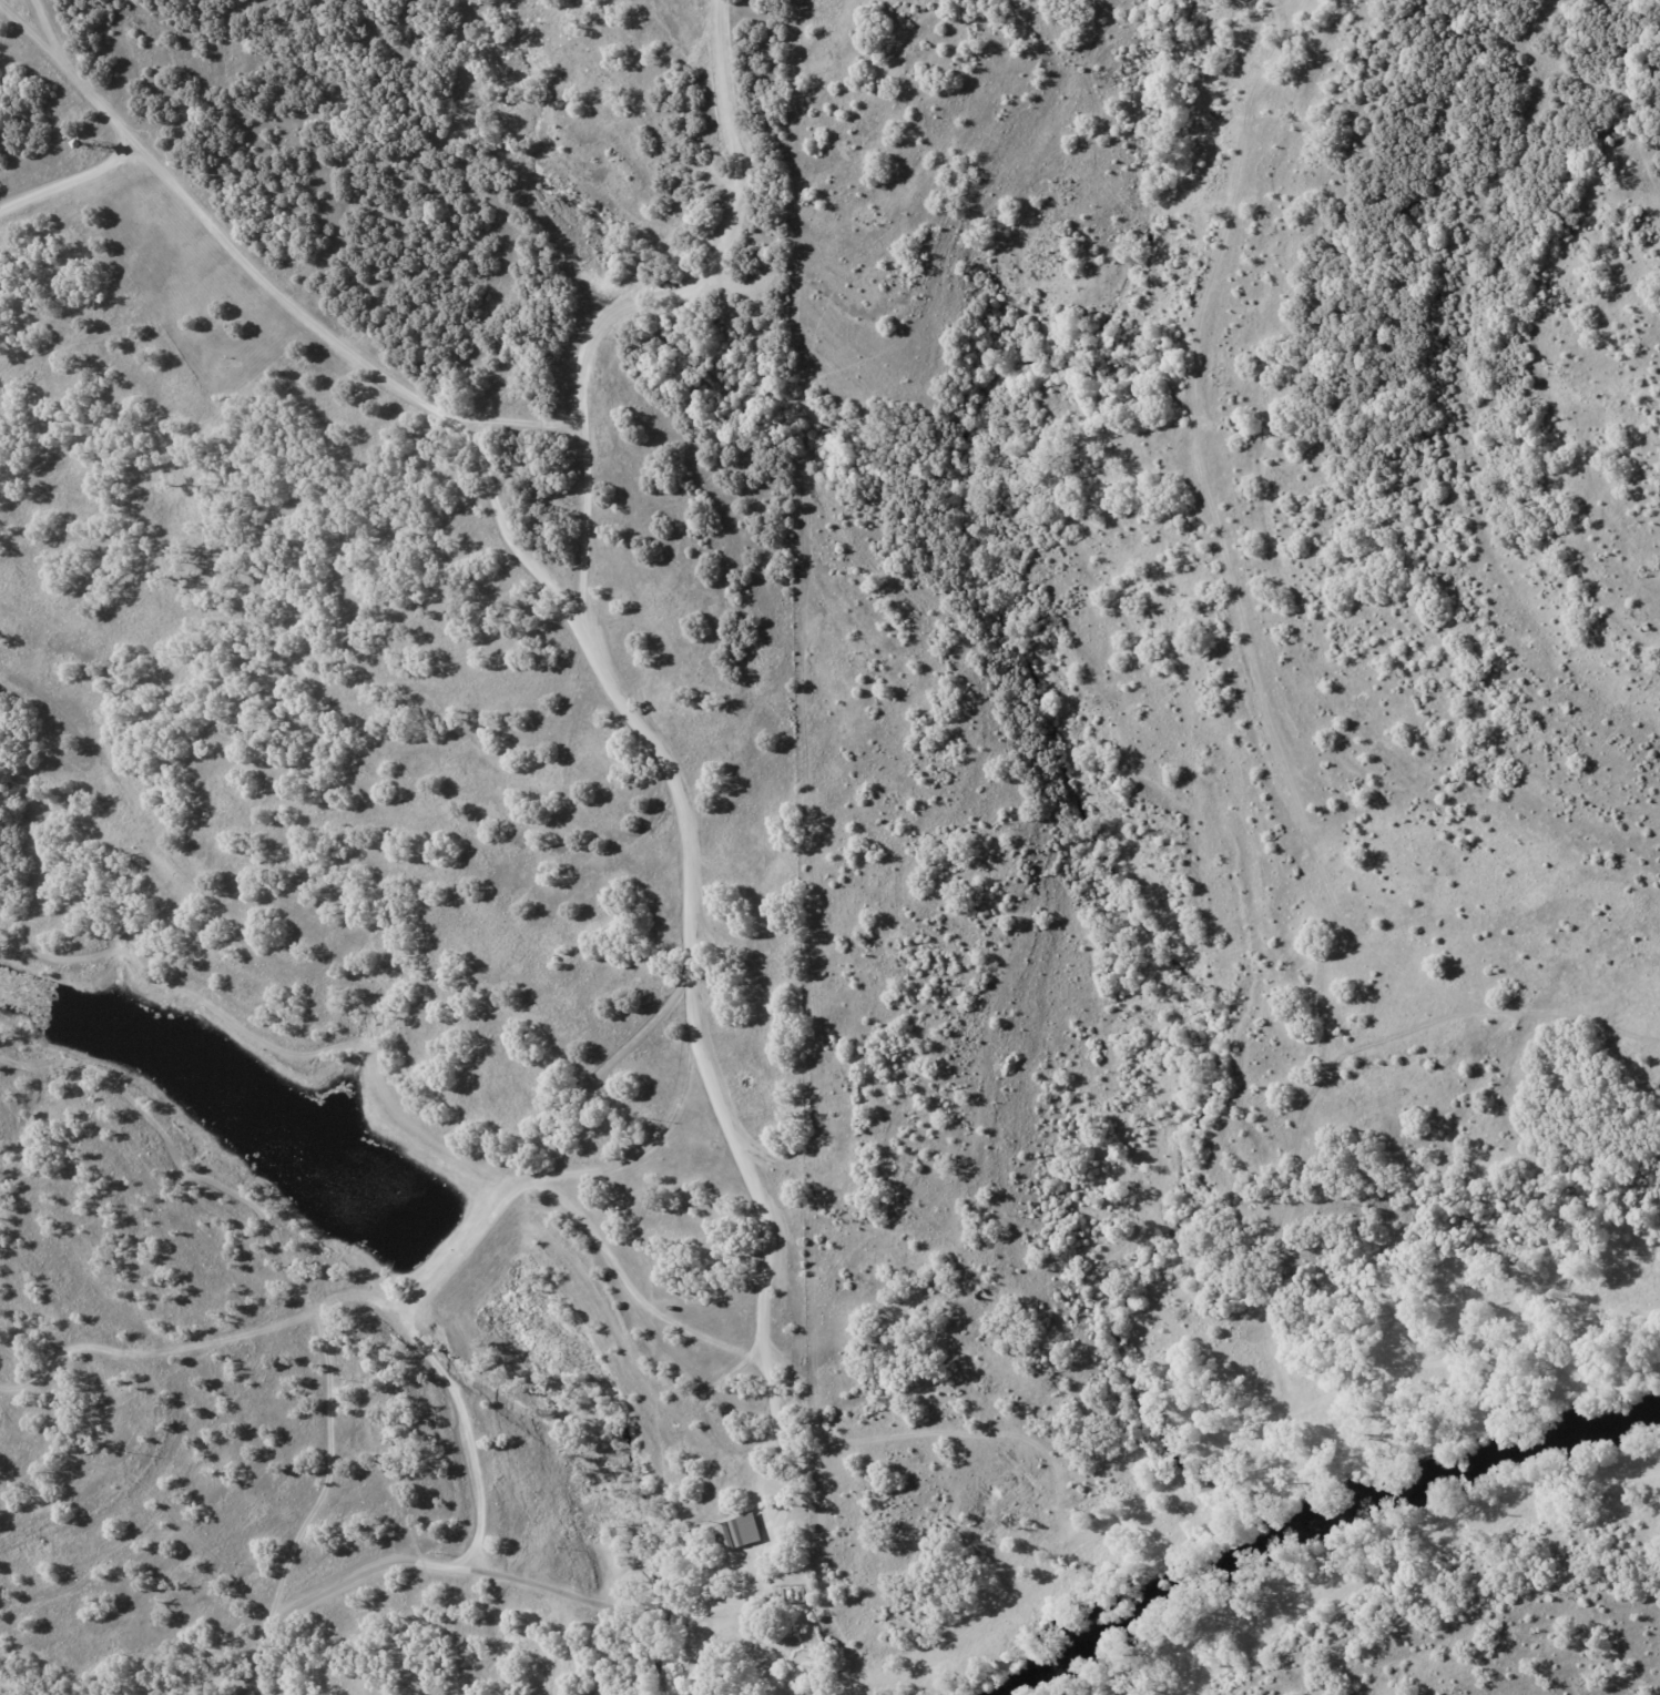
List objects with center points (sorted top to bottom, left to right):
building: (739, 1532)
road: (476, 1570)

